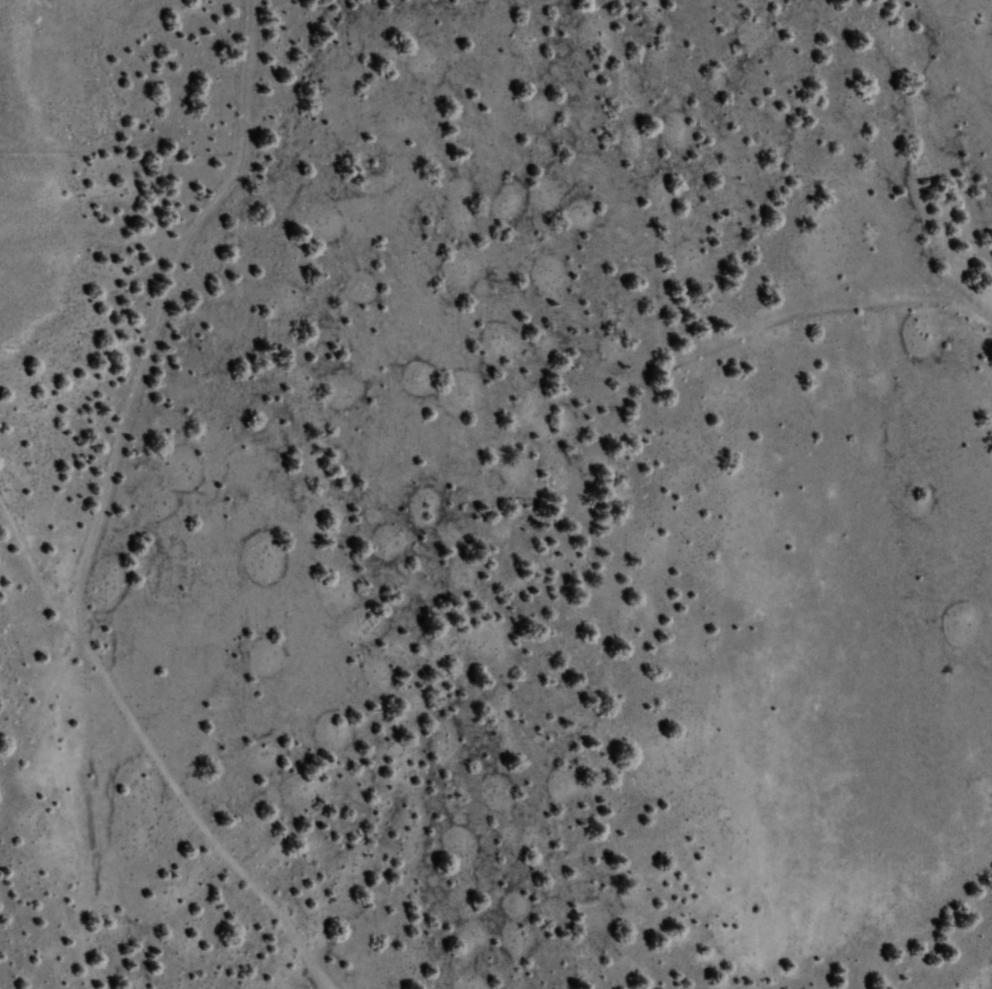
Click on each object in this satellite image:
road: (164, 310)
road: (155, 749)

